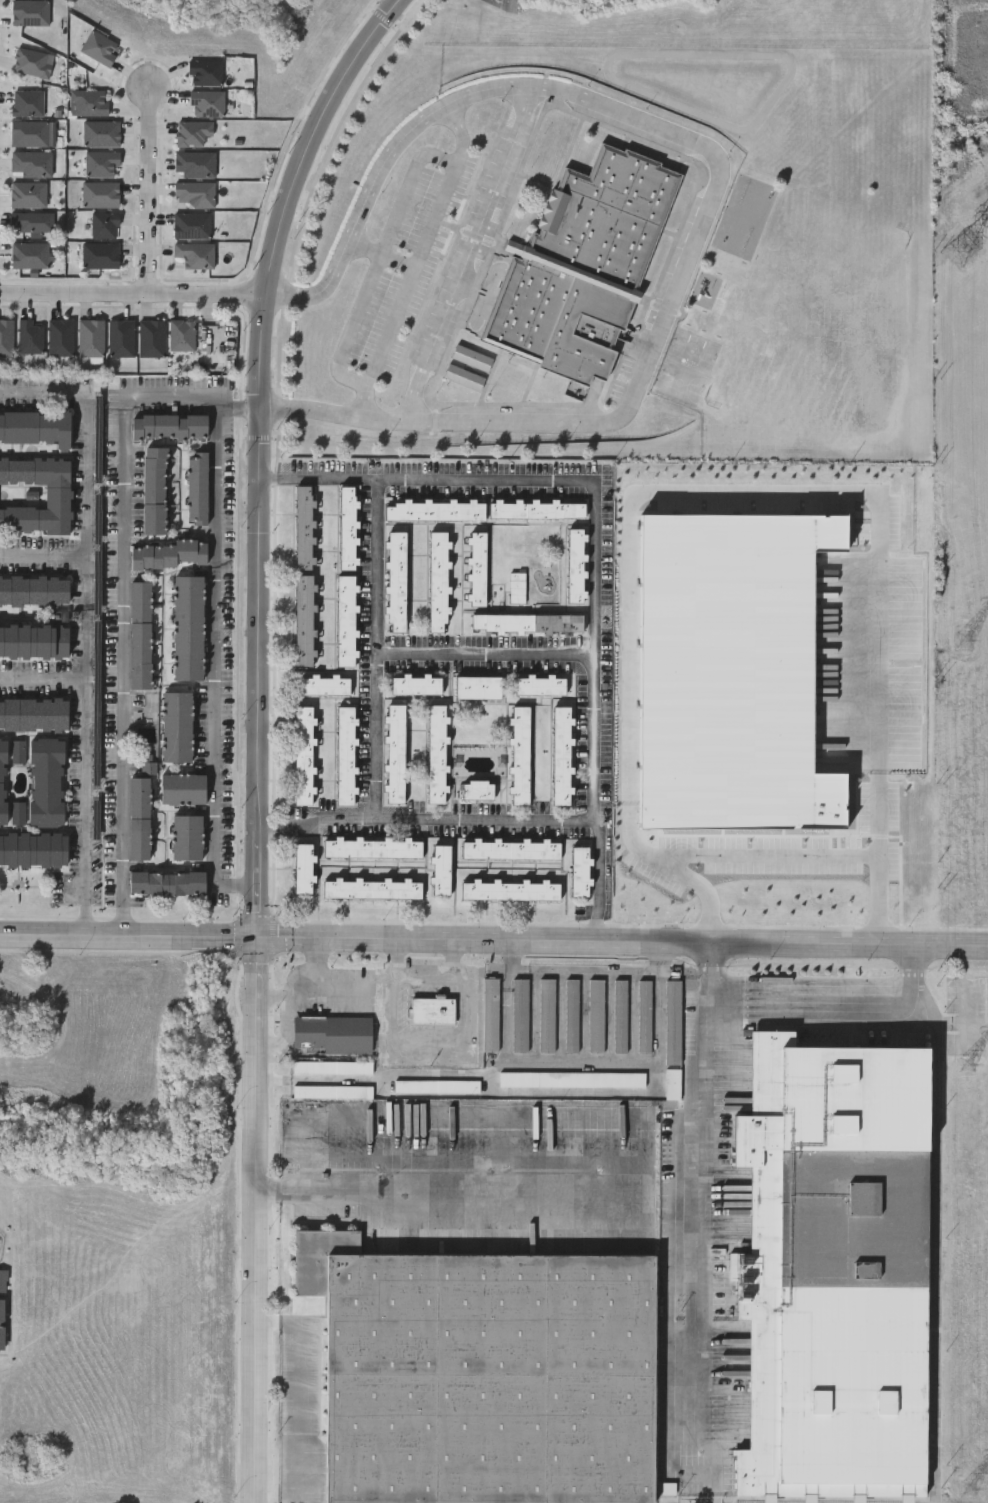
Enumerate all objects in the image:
building: (29, 12)
building: (98, 47)
building: (204, 72)
building: (27, 102)
building: (88, 102)
building: (206, 102)
building: (28, 133)
building: (101, 133)
building: (30, 164)
building: (100, 164)
building: (194, 164)
road: (715, 190)
road: (150, 192)
building: (27, 194)
building: (100, 194)
building: (193, 194)
building: (31, 222)
building: (104, 225)
building: (192, 225)
power tower: (963, 250)
road: (380, 252)
road: (470, 252)
building: (29, 255)
building: (194, 255)
building: (100, 256)
road: (415, 258)
building: (581, 265)
road: (132, 305)
building: (181, 335)
building: (29, 336)
building: (6, 337)
building: (60, 337)
building: (90, 338)
building: (121, 338)
building: (151, 338)
building: (471, 357)
building: (514, 375)
building: (463, 377)
road: (199, 392)
building: (169, 426)
building: (36, 427)
road: (594, 479)
building: (198, 487)
building: (155, 490)
road: (734, 491)
building: (35, 496)
building: (537, 508)
building: (435, 509)
building: (304, 527)
building: (347, 528)
building: (171, 554)
road: (42, 555)
building: (577, 565)
building: (477, 568)
building: (396, 581)
building: (438, 581)
building: (517, 586)
building: (34, 591)
building: (304, 619)
building: (345, 620)
building: (527, 622)
road: (84, 626)
building: (188, 627)
building: (141, 634)
building: (34, 641)
power tower: (965, 642)
road: (399, 650)
road: (214, 664)
road: (123, 665)
road: (42, 680)
building: (416, 684)
building: (542, 684)
building: (323, 685)
building: (478, 687)
building: (33, 714)
building: (177, 727)
road: (254, 733)
road: (374, 733)
building: (19, 751)
building: (395, 753)
building: (437, 754)
building: (520, 754)
building: (563, 755)
building: (303, 756)
building: (345, 756)
building: (47, 782)
building: (3, 783)
building: (183, 789)
building: (478, 790)
building: (18, 813)
building: (140, 818)
road: (484, 818)
building: (187, 838)
building: (372, 848)
building: (511, 849)
building: (33, 850)
road: (766, 852)
building: (303, 869)
building: (441, 870)
building: (581, 872)
building: (168, 884)
building: (372, 889)
building: (511, 891)
traffic signals: (253, 941)
road: (493, 944)
road: (397, 969)
road: (711, 976)
road: (331, 994)
road: (288, 1001)
road: (843, 1007)
building: (433, 1011)
building: (490, 1014)
building: (520, 1015)
building: (547, 1015)
building: (572, 1015)
building: (595, 1015)
building: (620, 1016)
building: (644, 1016)
building: (673, 1022)
building: (331, 1033)
road: (285, 1037)
road: (460, 1047)
power tower: (967, 1066)
building: (573, 1079)
building: (672, 1084)
road: (434, 1188)
road: (704, 1224)
building: (838, 1271)
building: (3, 1280)
building: (1, 1323)
building: (483, 1376)
road: (299, 1395)
power tower: (969, 1491)
railway: (835, 1499)

